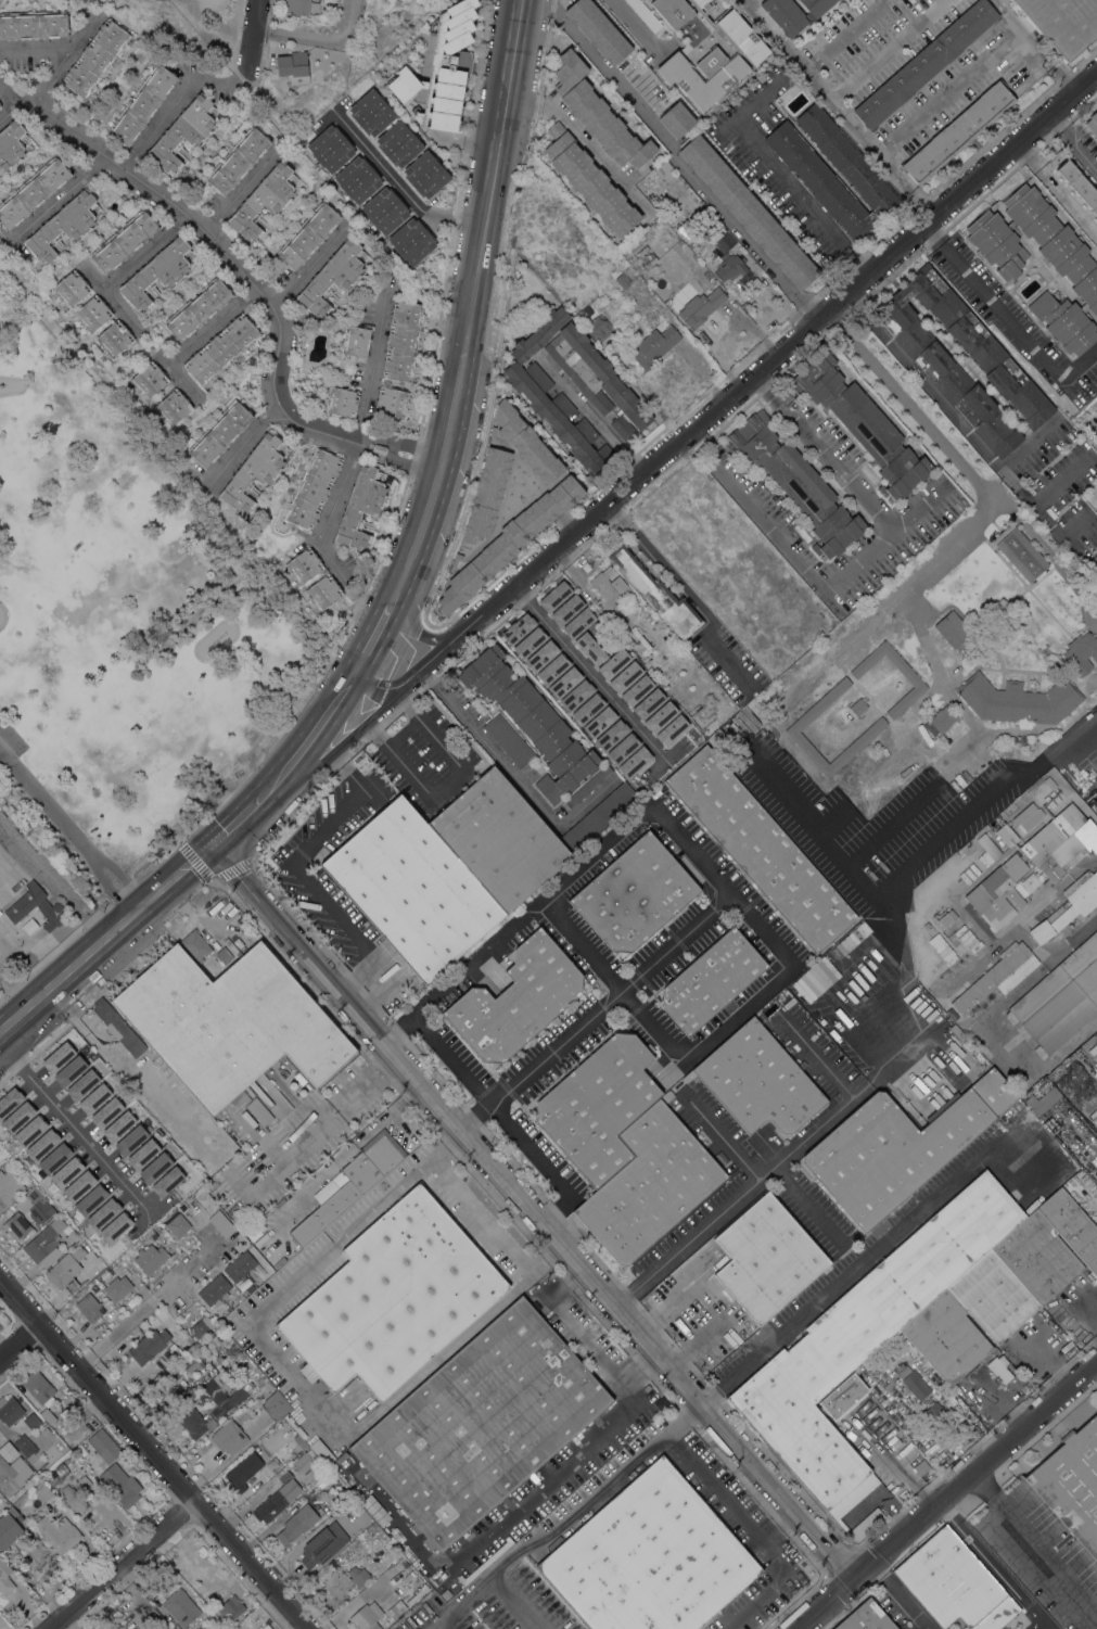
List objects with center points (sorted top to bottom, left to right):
road: (748, 1)
building: (296, 7)
building: (680, 10)
building: (793, 13)
building: (645, 14)
building: (1062, 23)
building: (33, 24)
building: (598, 29)
road: (845, 35)
building: (741, 36)
road: (321, 38)
road: (251, 40)
road: (1036, 46)
road: (55, 50)
road: (891, 50)
building: (95, 58)
building: (711, 60)
building: (924, 63)
building: (293, 67)
building: (439, 72)
road: (49, 78)
building: (720, 81)
road: (948, 89)
road: (827, 93)
building: (142, 104)
building: (0, 105)
road: (173, 105)
building: (0, 106)
road: (12, 107)
building: (371, 112)
building: (597, 113)
building: (677, 119)
road: (1055, 119)
building: (1092, 122)
building: (183, 132)
building: (957, 132)
building: (11, 143)
building: (399, 143)
road: (1079, 147)
building: (330, 148)
road: (673, 154)
building: (238, 160)
building: (809, 169)
building: (426, 174)
road: (783, 178)
building: (358, 179)
building: (589, 180)
building: (1079, 184)
road: (403, 189)
road: (1056, 191)
building: (33, 192)
road: (62, 194)
road: (237, 194)
building: (263, 201)
road: (922, 201)
building: (384, 209)
building: (747, 211)
building: (63, 226)
building: (713, 231)
building: (308, 234)
road: (931, 234)
building: (124, 240)
building: (411, 241)
building: (1055, 241)
building: (997, 243)
building: (648, 258)
road: (306, 267)
building: (728, 267)
road: (126, 268)
building: (156, 272)
building: (707, 275)
road: (246, 277)
building: (332, 277)
building: (623, 280)
road: (97, 282)
building: (71, 288)
road: (857, 303)
road: (472, 306)
building: (701, 307)
building: (197, 308)
building: (92, 313)
building: (1064, 322)
building: (598, 328)
road: (1013, 328)
building: (539, 334)
road: (200, 336)
building: (114, 338)
building: (355, 340)
building: (403, 340)
building: (653, 345)
building: (221, 348)
building: (936, 365)
building: (594, 374)
building: (149, 379)
road: (727, 397)
building: (392, 400)
building: (342, 402)
building: (173, 406)
building: (554, 411)
road: (589, 413)
road: (362, 419)
building: (863, 423)
building: (347, 425)
building: (623, 428)
building: (586, 430)
building: (492, 431)
building: (219, 433)
road: (242, 441)
building: (526, 442)
building: (379, 448)
road: (981, 448)
building: (253, 471)
building: (795, 482)
building: (312, 487)
building: (486, 494)
building: (360, 506)
road: (918, 507)
road: (983, 516)
building: (508, 542)
road: (877, 545)
building: (1020, 551)
building: (455, 560)
building: (304, 564)
building: (610, 586)
building: (323, 591)
building: (656, 593)
road: (685, 593)
building: (565, 609)
park: (120, 621)
building: (1012, 622)
road: (405, 623)
building: (516, 628)
building: (955, 633)
road: (369, 641)
building: (528, 642)
building: (686, 644)
building: (588, 648)
building: (1081, 652)
road: (582, 667)
building: (558, 675)
building: (624, 676)
building: (917, 683)
building: (1019, 700)
building: (858, 707)
building: (703, 711)
building: (659, 716)
building: (532, 721)
building: (941, 721)
building: (598, 722)
building: (876, 727)
building: (704, 731)
road: (314, 737)
road: (1092, 737)
building: (508, 740)
road: (337, 749)
building: (627, 754)
building: (363, 766)
road: (1079, 774)
road: (513, 776)
building: (1049, 782)
road: (451, 785)
building: (588, 785)
road: (265, 794)
road: (44, 802)
building: (598, 816)
building: (1028, 816)
road: (237, 823)
building: (1006, 833)
building: (498, 840)
road: (5, 843)
traffic signals: (214, 844)
building: (988, 845)
building: (761, 849)
road: (917, 858)
building: (986, 863)
building: (1033, 865)
road: (299, 867)
road: (179, 873)
road: (119, 875)
road: (561, 883)
road: (105, 887)
building: (412, 889)
building: (635, 894)
building: (22, 905)
building: (1069, 906)
building: (947, 918)
building: (967, 939)
building: (847, 941)
road: (35, 942)
building: (195, 944)
road: (582, 945)
building: (235, 950)
building: (224, 955)
road: (72, 967)
road: (1039, 970)
building: (998, 975)
building: (711, 980)
building: (518, 984)
road: (14, 993)
building: (1059, 1000)
building: (526, 1010)
road: (597, 1010)
road: (741, 1013)
building: (230, 1023)
building: (118, 1026)
building: (973, 1028)
building: (955, 1030)
building: (1096, 1031)
building: (961, 1043)
building: (72, 1044)
building: (1093, 1049)
building: (56, 1056)
road: (452, 1058)
building: (98, 1069)
building: (68, 1070)
building: (79, 1077)
building: (758, 1080)
building: (93, 1098)
building: (9, 1099)
building: (1043, 1100)
building: (598, 1105)
building: (259, 1110)
building: (105, 1111)
building: (16, 1116)
building: (8, 1125)
building: (117, 1125)
road: (72, 1127)
building: (28, 1130)
building: (129, 1140)
building: (41, 1144)
building: (897, 1146)
building: (141, 1154)
building: (53, 1157)
road: (537, 1159)
building: (3, 1166)
building: (153, 1167)
road: (781, 1169)
building: (65, 1172)
building: (166, 1181)
building: (349, 1184)
building: (649, 1184)
building: (77, 1185)
building: (9, 1187)
building: (89, 1199)
building: (38, 1205)
road: (536, 1207)
road: (809, 1207)
building: (102, 1213)
building: (177, 1223)
building: (16, 1225)
building: (1071, 1225)
building: (114, 1226)
road: (494, 1232)
building: (74, 1234)
building: (153, 1234)
building: (41, 1245)
building: (291, 1248)
building: (151, 1258)
building: (765, 1258)
building: (1036, 1258)
road: (859, 1259)
building: (240, 1267)
road: (304, 1269)
building: (66, 1270)
building: (118, 1286)
building: (215, 1288)
building: (992, 1296)
building: (393, 1297)
road: (150, 1302)
building: (89, 1307)
building: (201, 1326)
building: (866, 1334)
building: (946, 1337)
road: (585, 1340)
road: (21, 1342)
building: (149, 1346)
building: (191, 1362)
building: (998, 1367)
building: (258, 1376)
building: (914, 1382)
building: (268, 1385)
building: (39, 1387)
building: (64, 1390)
building: (843, 1396)
building: (232, 1398)
building: (192, 1400)
building: (275, 1405)
building: (10, 1410)
building: (48, 1415)
building: (935, 1416)
building: (30, 1420)
building: (196, 1423)
building: (481, 1424)
building: (228, 1436)
building: (299, 1441)
building: (103, 1445)
building: (7, 1446)
building: (24, 1446)
road: (649, 1447)
road: (152, 1452)
building: (304, 1461)
building: (272, 1463)
building: (243, 1471)
road: (552, 1474)
building: (14, 1475)
building: (285, 1477)
building: (120, 1484)
building: (1072, 1484)
building: (43, 1492)
road: (944, 1493)
building: (342, 1494)
building: (73, 1498)
building: (271, 1505)
building: (375, 1510)
building: (582, 1518)
building: (296, 1524)
building: (9, 1528)
building: (56, 1531)
road: (1035, 1541)
building: (323, 1544)
building: (202, 1550)
building: (650, 1558)
building: (59, 1566)
road: (127, 1567)
building: (358, 1576)
building: (4, 1578)
building: (177, 1578)
building: (954, 1583)
building: (445, 1593)
building: (417, 1594)
road: (897, 1594)
road: (459, 1604)
building: (181, 1606)
building: (231, 1606)
building: (396, 1608)
building: (366, 1617)
building: (866, 1618)
building: (1011, 1622)
building: (264, 1627)
building: (156, 1628)
building: (165, 1628)
building: (213, 1628)
building: (216, 1628)

